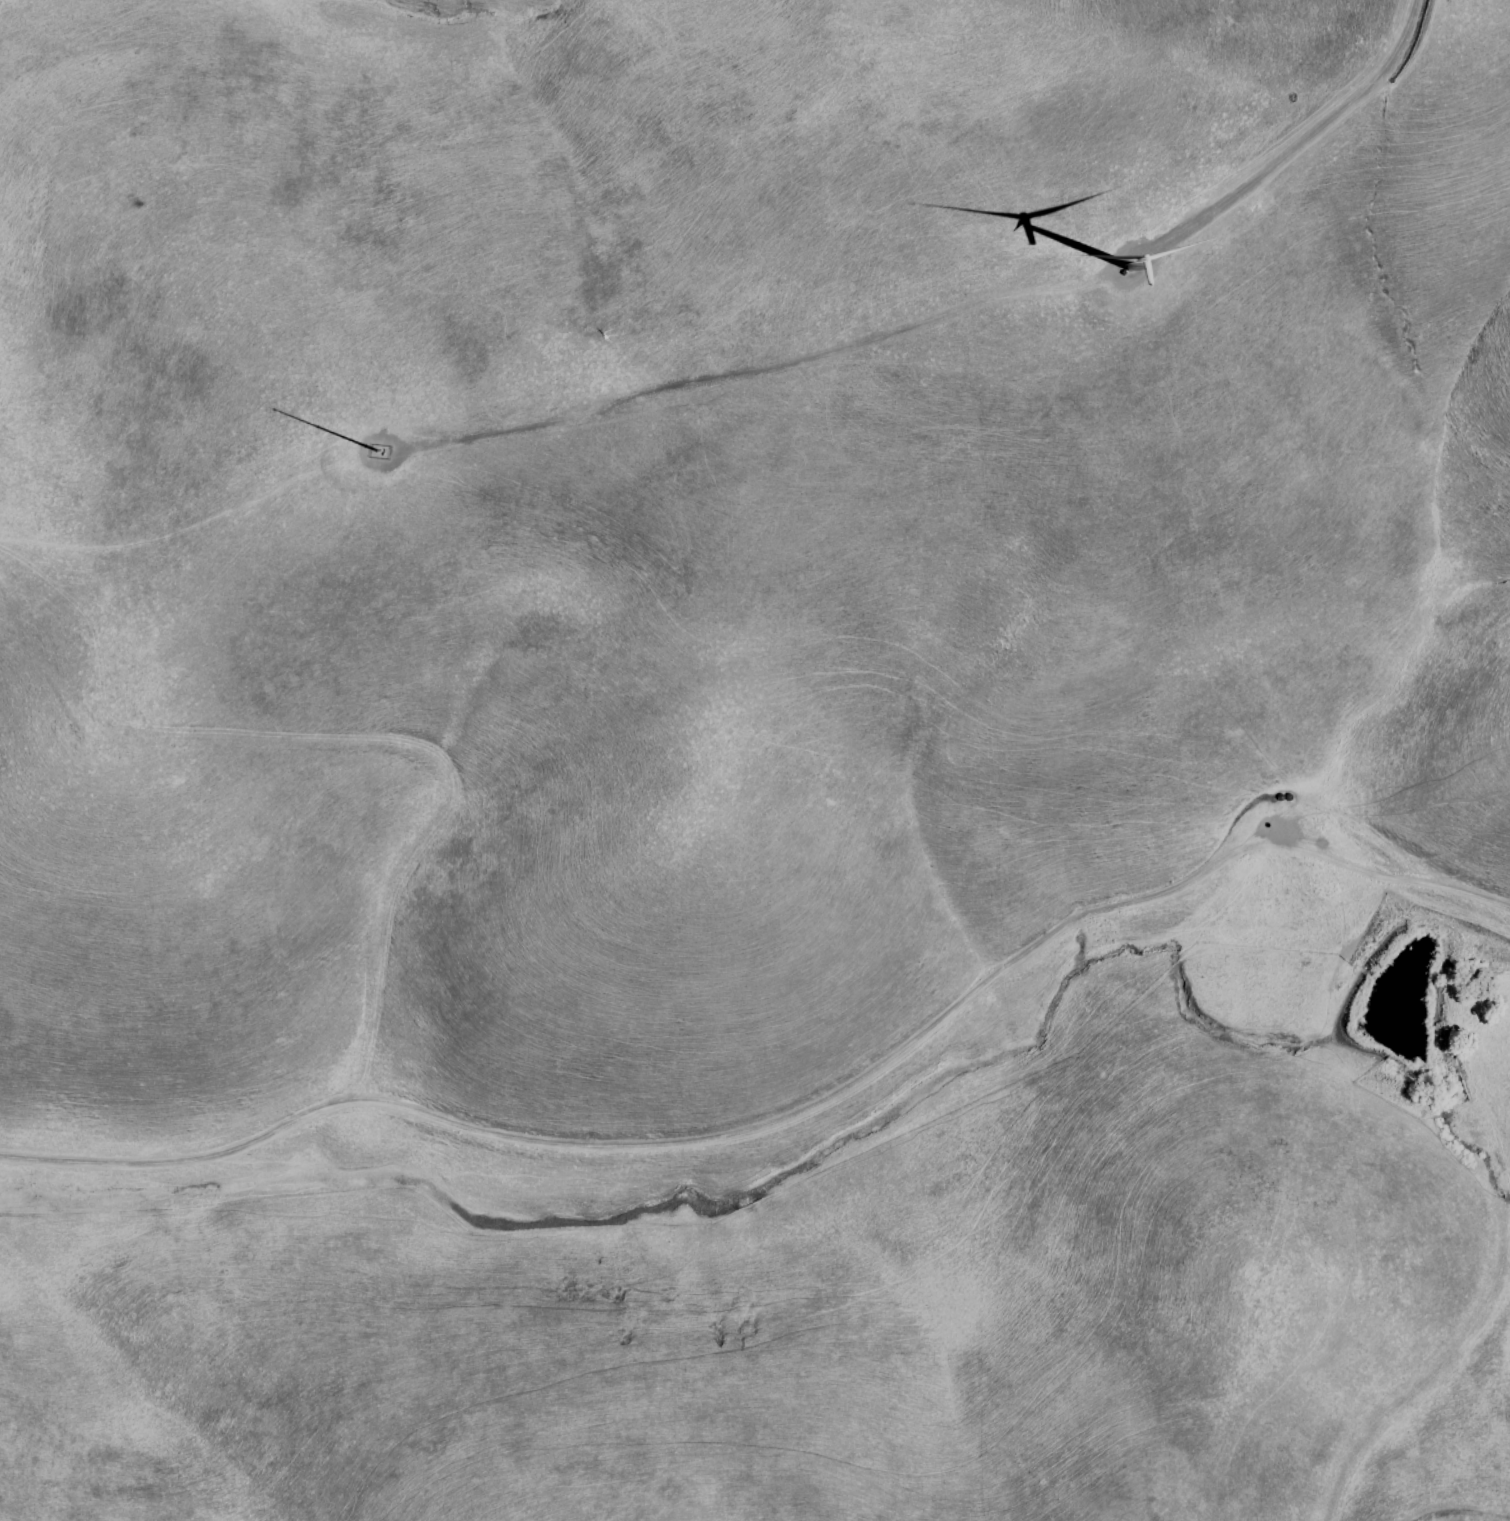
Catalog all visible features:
road: (1301, 146)
wind turbine: (1132, 264)
road: (381, 745)
road: (1319, 808)
road: (781, 1117)
road: (1509, 1145)
road: (1507, 1167)
road: (1444, 1369)

